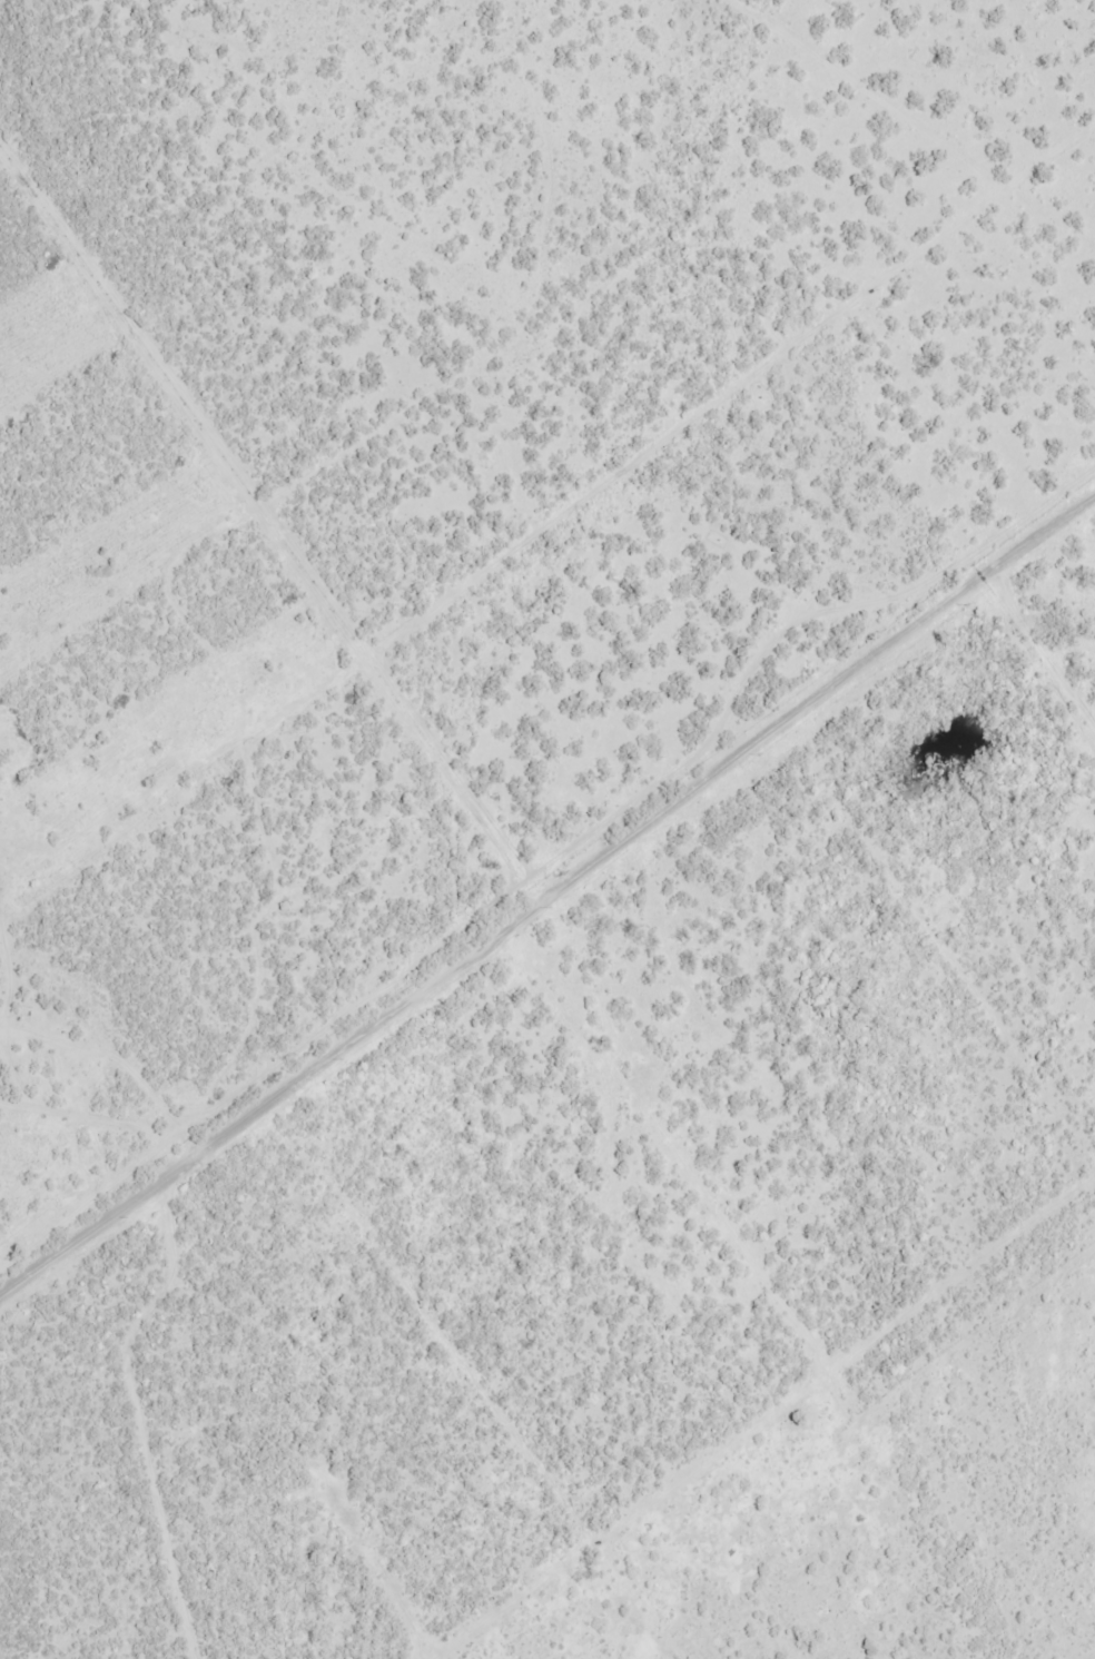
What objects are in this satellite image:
road: (243, 611)
road: (535, 964)
road: (227, 1398)

